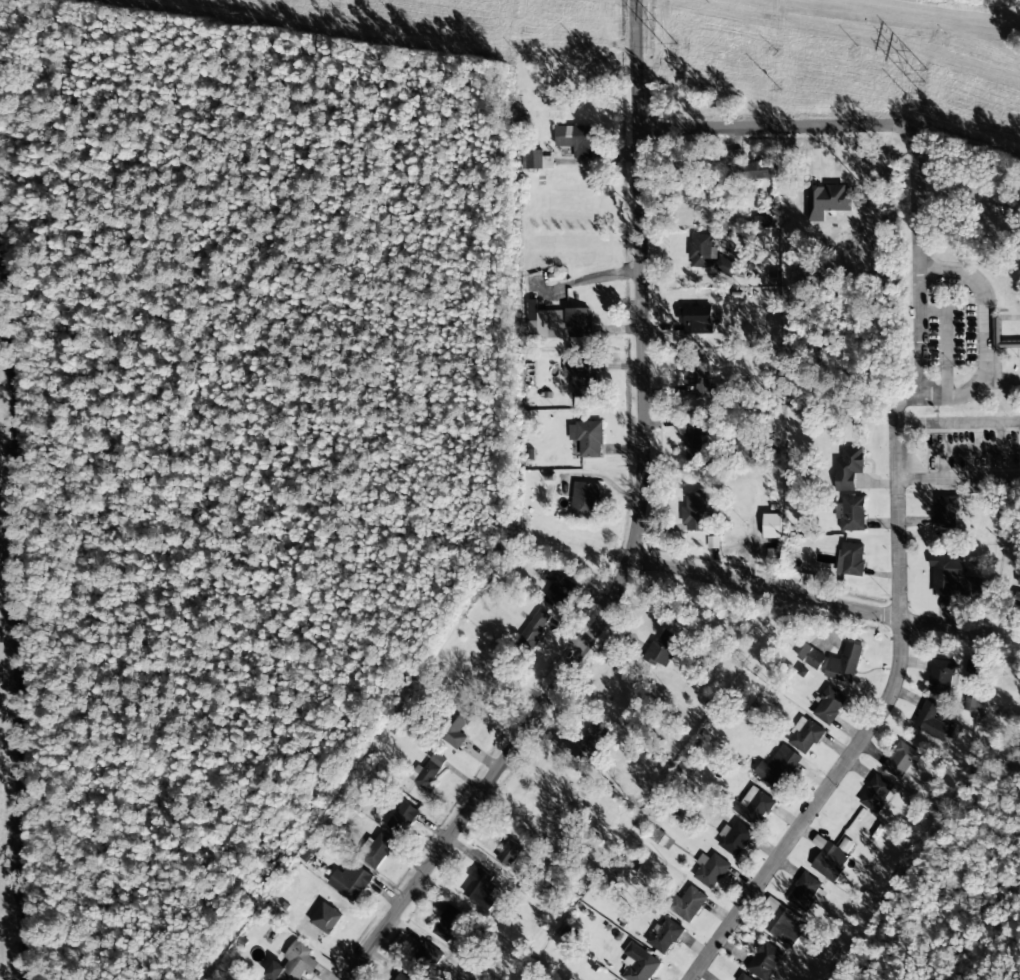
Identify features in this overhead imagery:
power tower: (338, 4)
power tower: (923, 85)
building: (575, 139)
building: (534, 160)
building: (749, 167)
building: (828, 200)
building: (765, 221)
building: (708, 256)
building: (530, 318)
building: (696, 319)
building: (564, 321)
building: (698, 377)
building: (583, 379)
building: (592, 440)
building: (693, 440)
road: (896, 445)
building: (848, 468)
building: (584, 501)
building: (946, 511)
building: (695, 512)
building: (853, 513)
building: (772, 526)
road: (634, 532)
building: (774, 555)
building: (852, 559)
building: (952, 577)
building: (1019, 583)
building: (557, 589)
road: (805, 597)
building: (534, 629)
building: (665, 646)
building: (811, 656)
building: (845, 663)
building: (975, 667)
building: (941, 677)
building: (974, 704)
building: (829, 705)
building: (931, 720)
building: (457, 724)
building: (954, 731)
building: (805, 735)
building: (589, 740)
building: (902, 760)
building: (778, 767)
building: (427, 772)
building: (877, 794)
building: (755, 805)
building: (402, 819)
building: (734, 838)
building: (376, 849)
building: (509, 852)
building: (831, 857)
building: (710, 869)
building: (350, 881)
building: (480, 889)
building: (805, 893)
building: (688, 904)
building: (771, 906)
building: (326, 918)
building: (447, 922)
building: (785, 925)
building: (664, 936)
building: (826, 951)
building: (430, 954)
building: (765, 961)
building: (292, 963)
building: (639, 964)
building: (406, 976)

